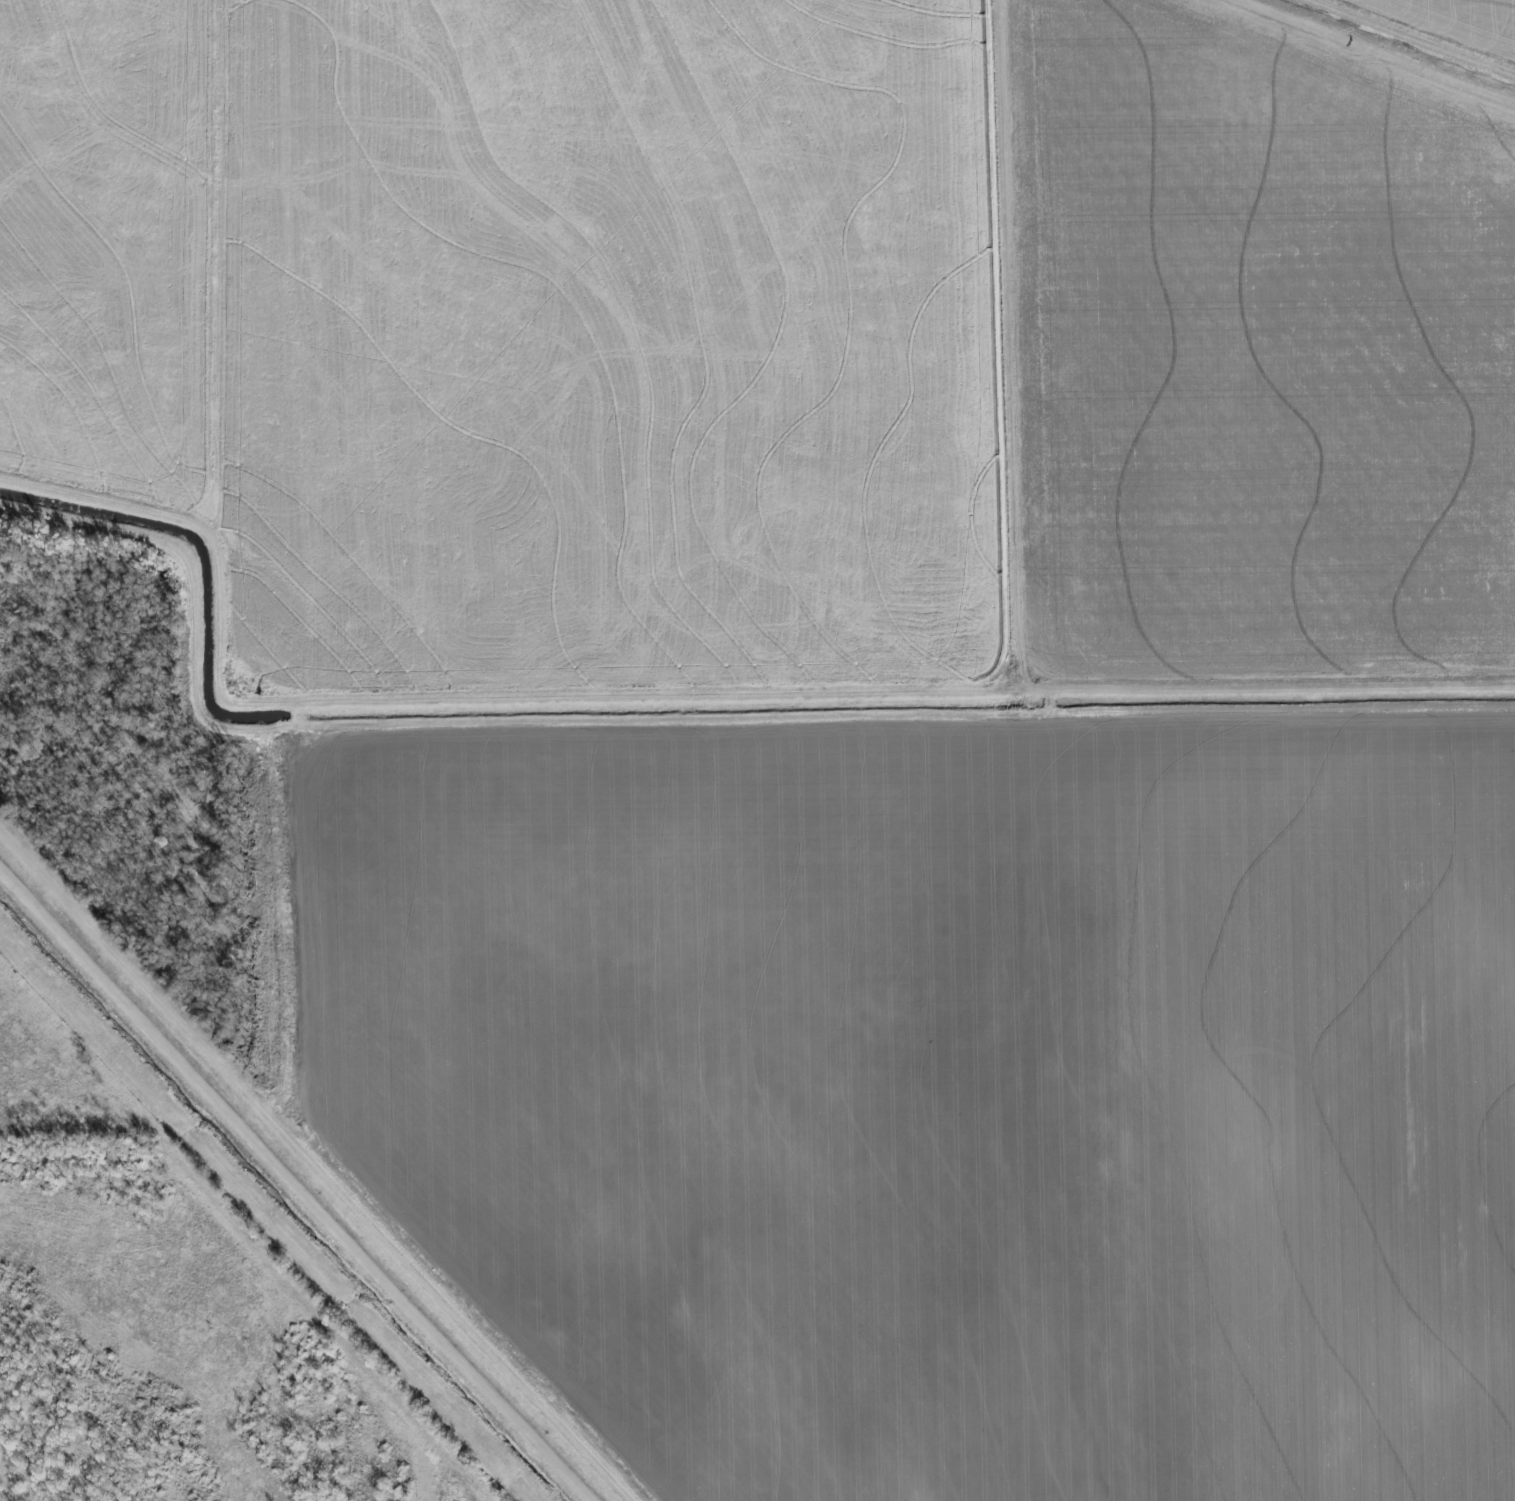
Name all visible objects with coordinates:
road: (317, 1165)
road: (270, 1260)

